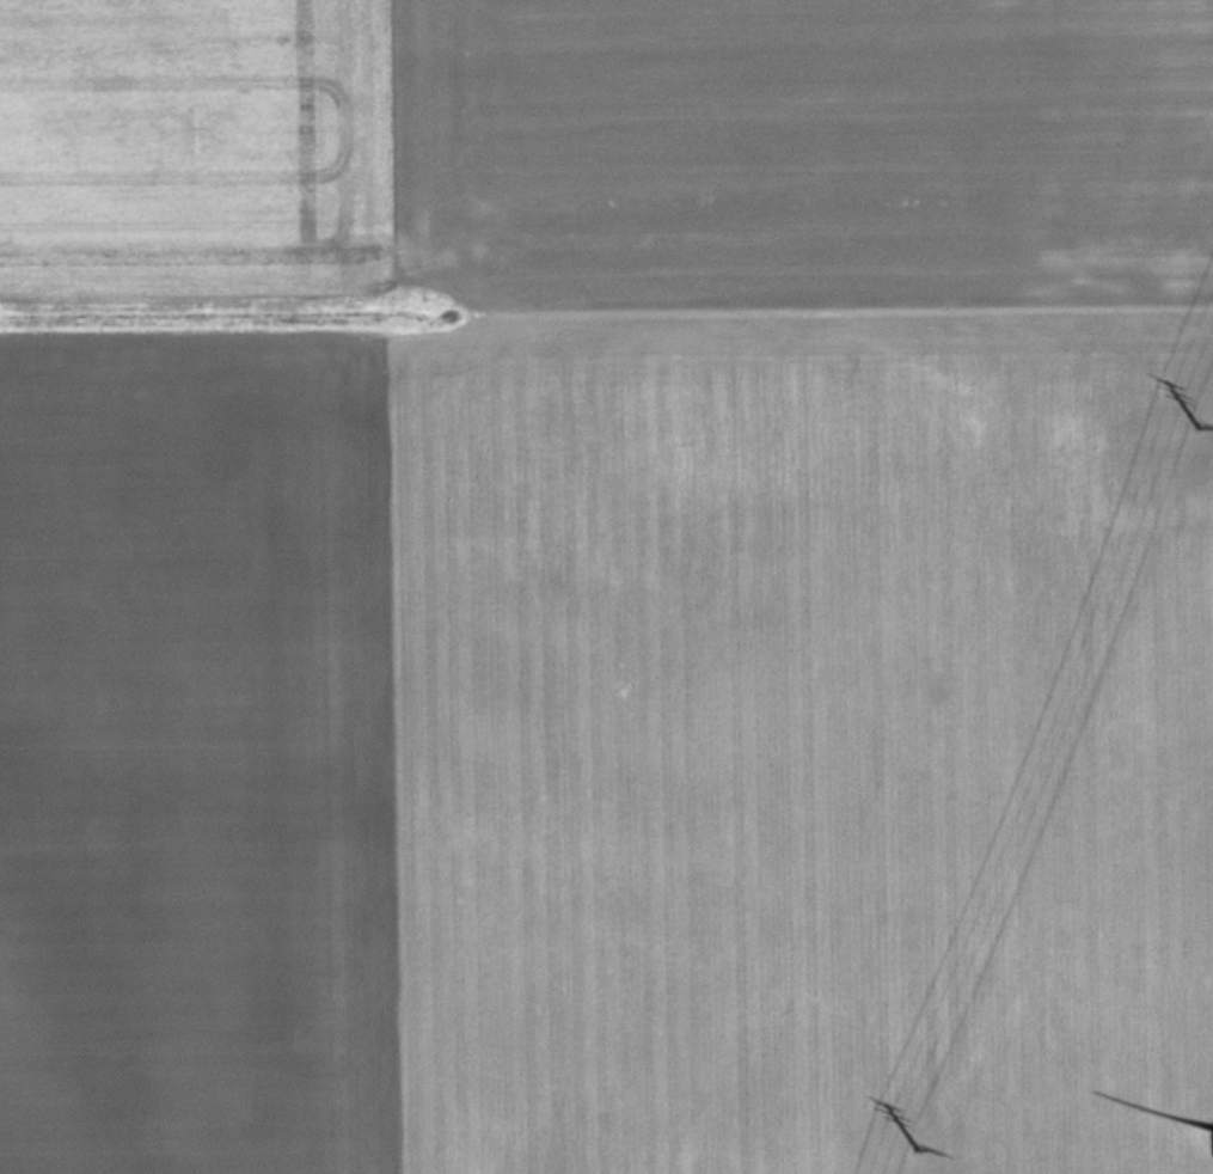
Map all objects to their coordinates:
power tower: (1202, 420)
power tower: (903, 1156)

